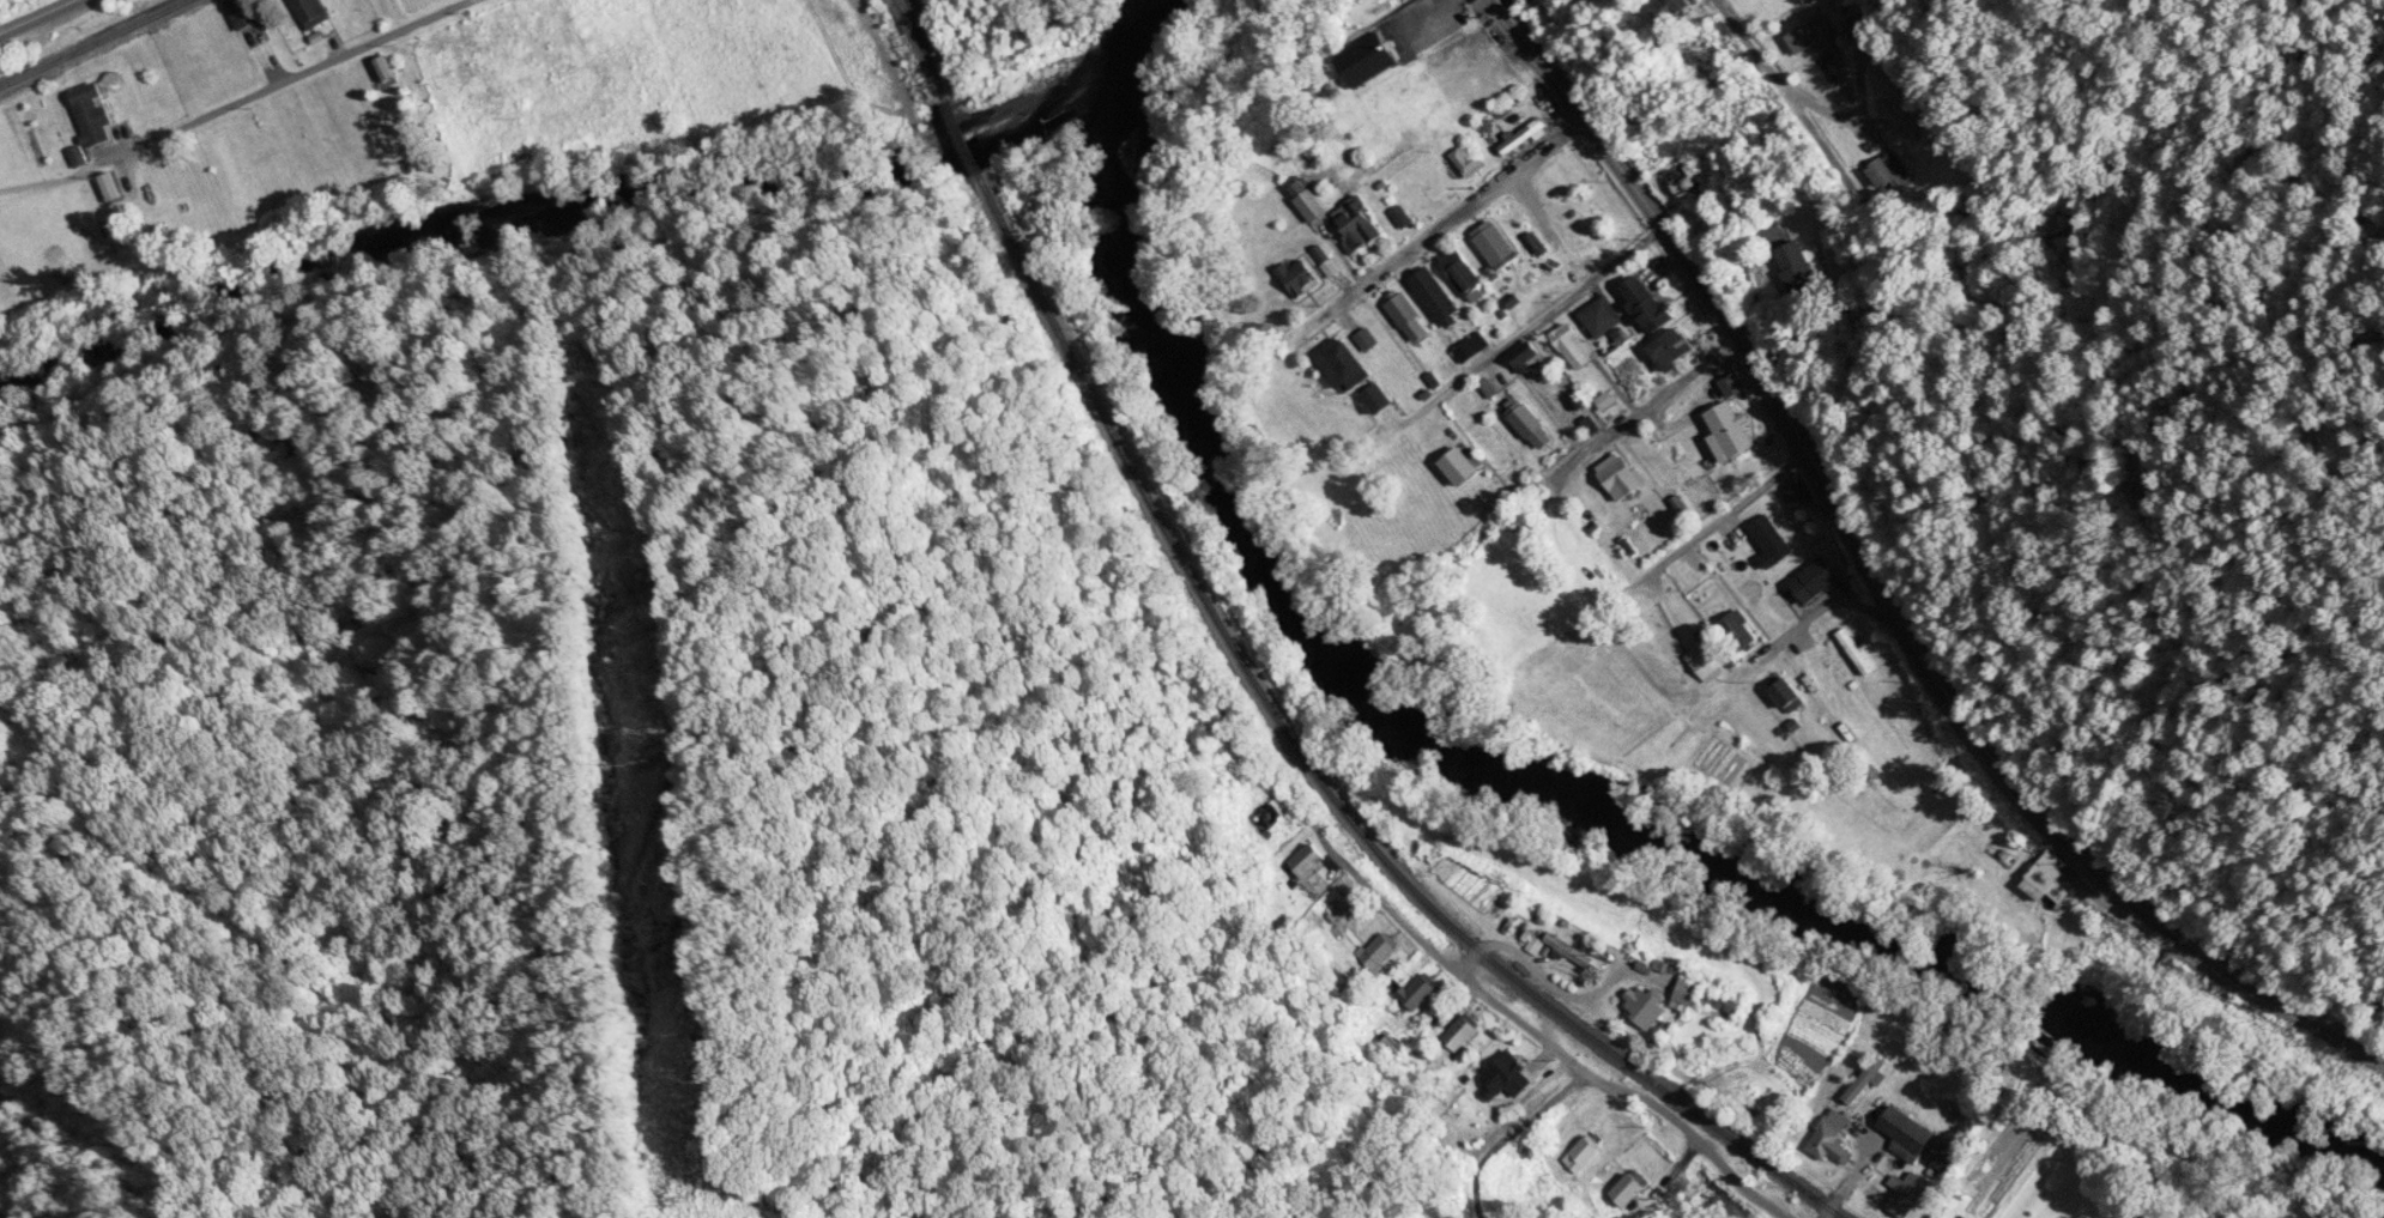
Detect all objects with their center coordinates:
railway: (907, 5)
building: (1672, 7)
building: (313, 12)
road: (40, 18)
building: (247, 22)
building: (1809, 35)
railway: (83, 38)
river: (1132, 57)
building: (1372, 60)
building: (385, 72)
road: (301, 75)
road: (1789, 102)
building: (93, 114)
building: (1901, 117)
building: (1523, 137)
building: (1469, 160)
building: (1889, 172)
building: (1681, 180)
building: (1308, 201)
road: (1451, 212)
building: (1359, 225)
building: (1497, 248)
building: (1798, 268)
building: (1462, 273)
road: (1567, 295)
building: (1438, 297)
building: (1648, 304)
building: (1405, 313)
building: (1602, 319)
building: (1367, 341)
building: (1573, 346)
building: (1674, 350)
building: (1527, 357)
building: (1344, 365)
building: (1379, 400)
road: (1642, 420)
building: (1531, 425)
building: (1732, 430)
building: (1463, 468)
building: (1622, 475)
building: (2148, 489)
building: (1798, 497)
road: (1724, 520)
building: (1772, 541)
building: (1816, 580)
road: (1881, 586)
road: (1822, 606)
building: (1739, 631)
building: (1854, 653)
building: (1706, 663)
railway: (1277, 692)
building: (1789, 693)
power tower: (664, 763)
river: (1577, 795)
building: (1275, 819)
building: (1311, 860)
building: (1527, 915)
building: (1569, 950)
building: (1420, 992)
building: (1692, 993)
building: (1645, 1007)
building: (1460, 1032)
road: (1541, 1038)
building: (1506, 1078)
building: (1908, 1131)
building: (1832, 1139)
building: (1584, 1155)
building: (1949, 1159)
building: (1629, 1190)
power tower: (700, 1201)
building: (2070, 1213)

